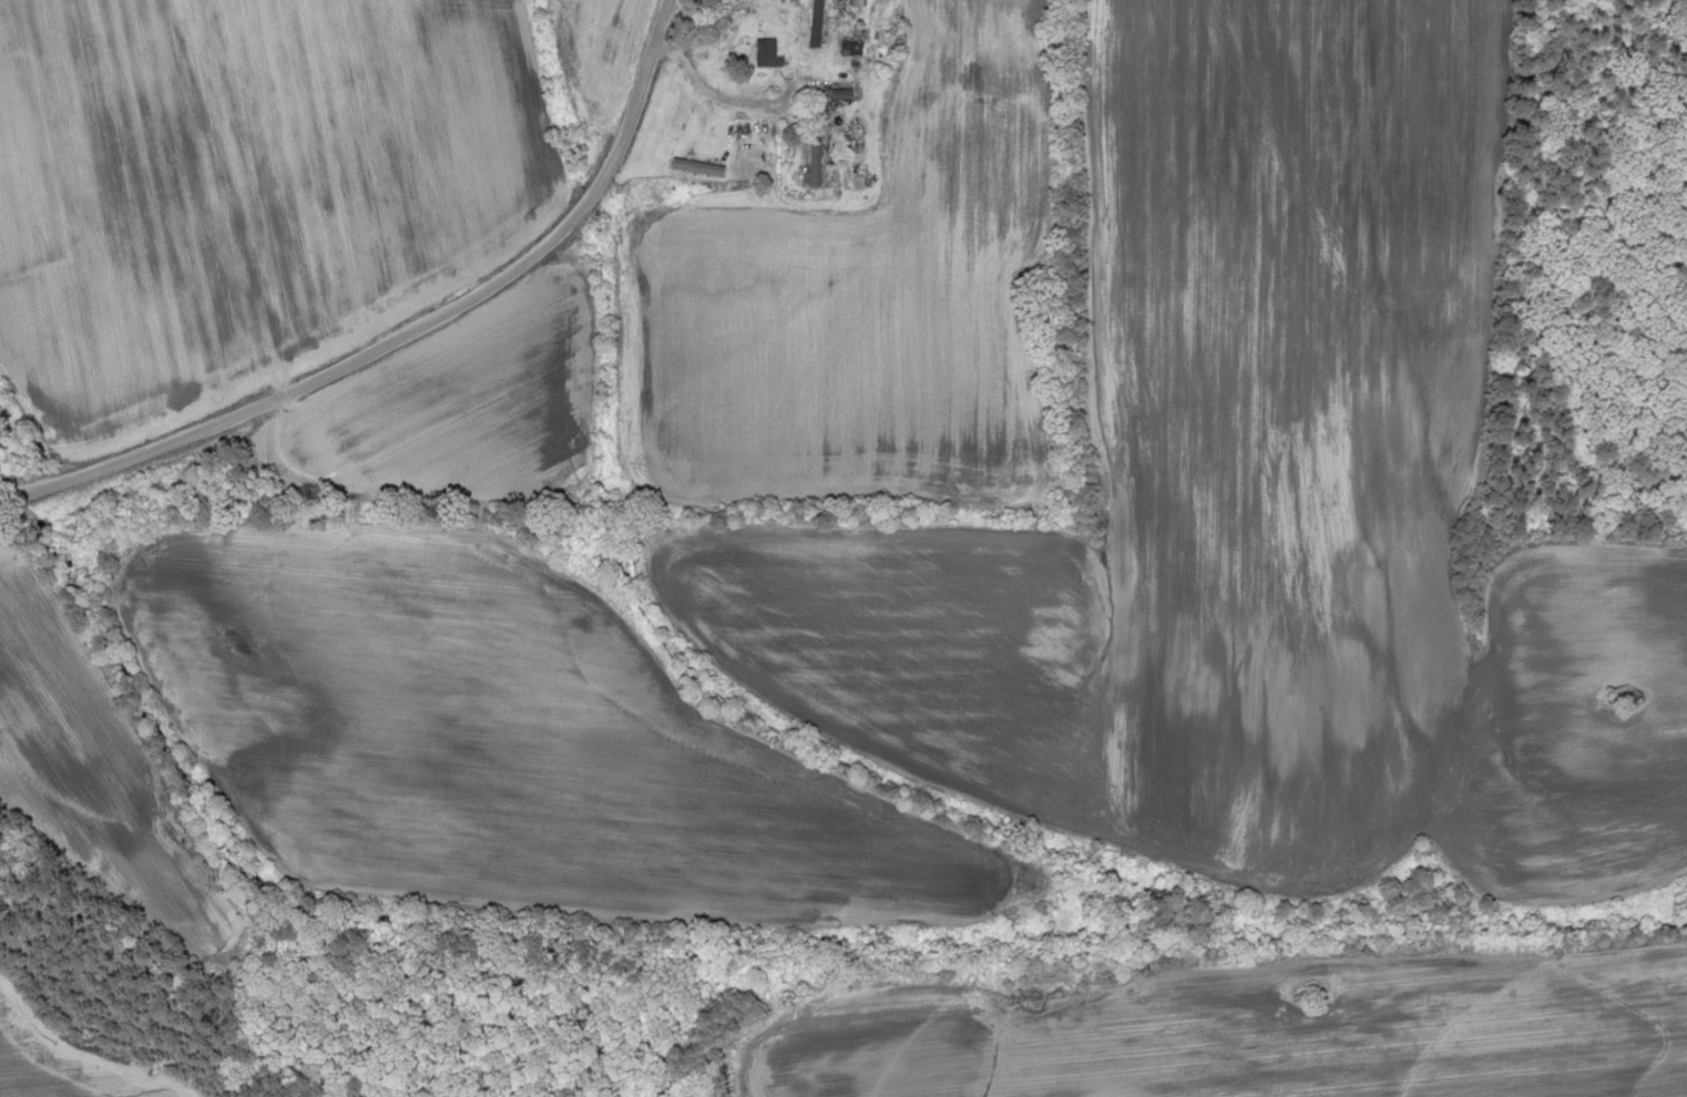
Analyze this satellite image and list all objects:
building: (814, 23)
building: (761, 53)
building: (810, 164)
building: (694, 167)
road: (407, 330)

